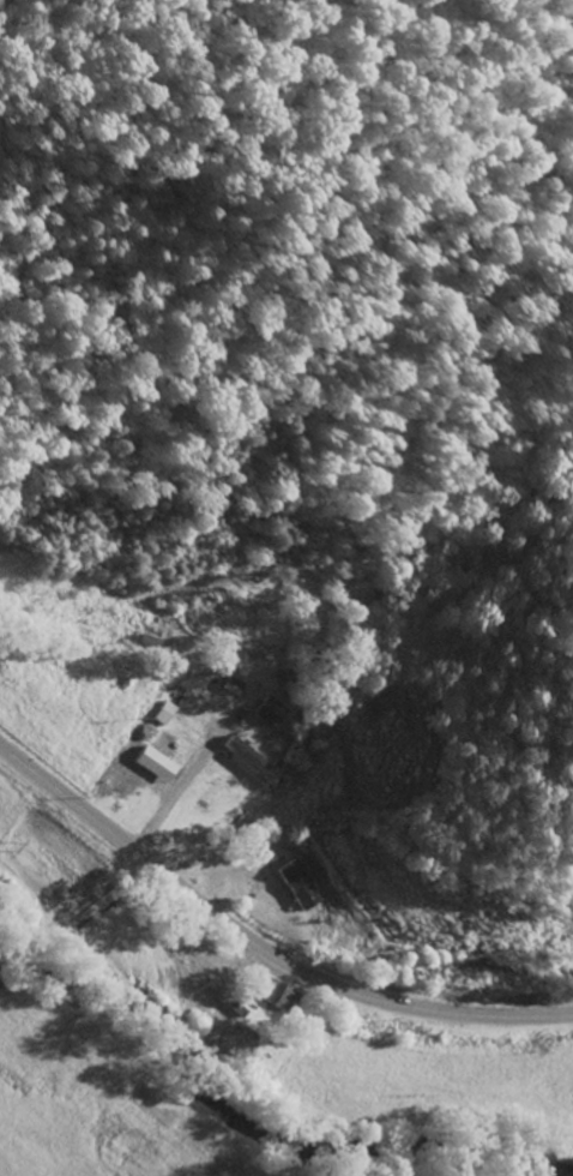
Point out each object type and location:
building: (233, 684)
building: (271, 710)
building: (167, 712)
building: (249, 758)
building: (303, 884)
road: (77, 929)
road: (259, 941)
building: (283, 995)

